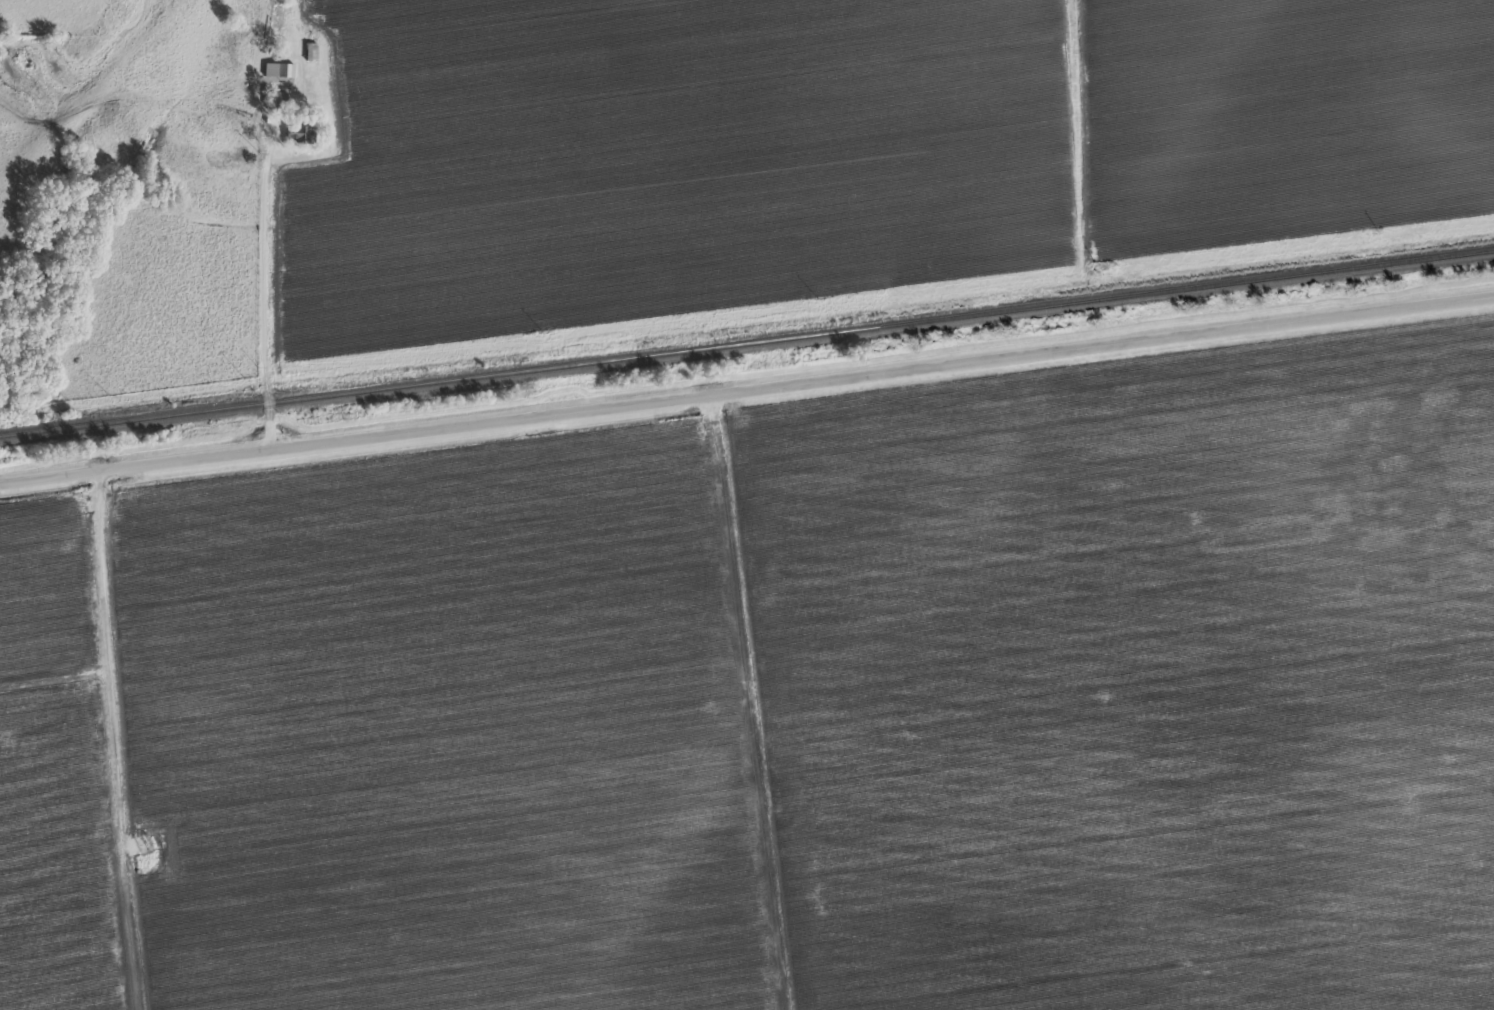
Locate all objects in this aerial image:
road: (265, 288)
railway: (747, 344)
road: (747, 385)

